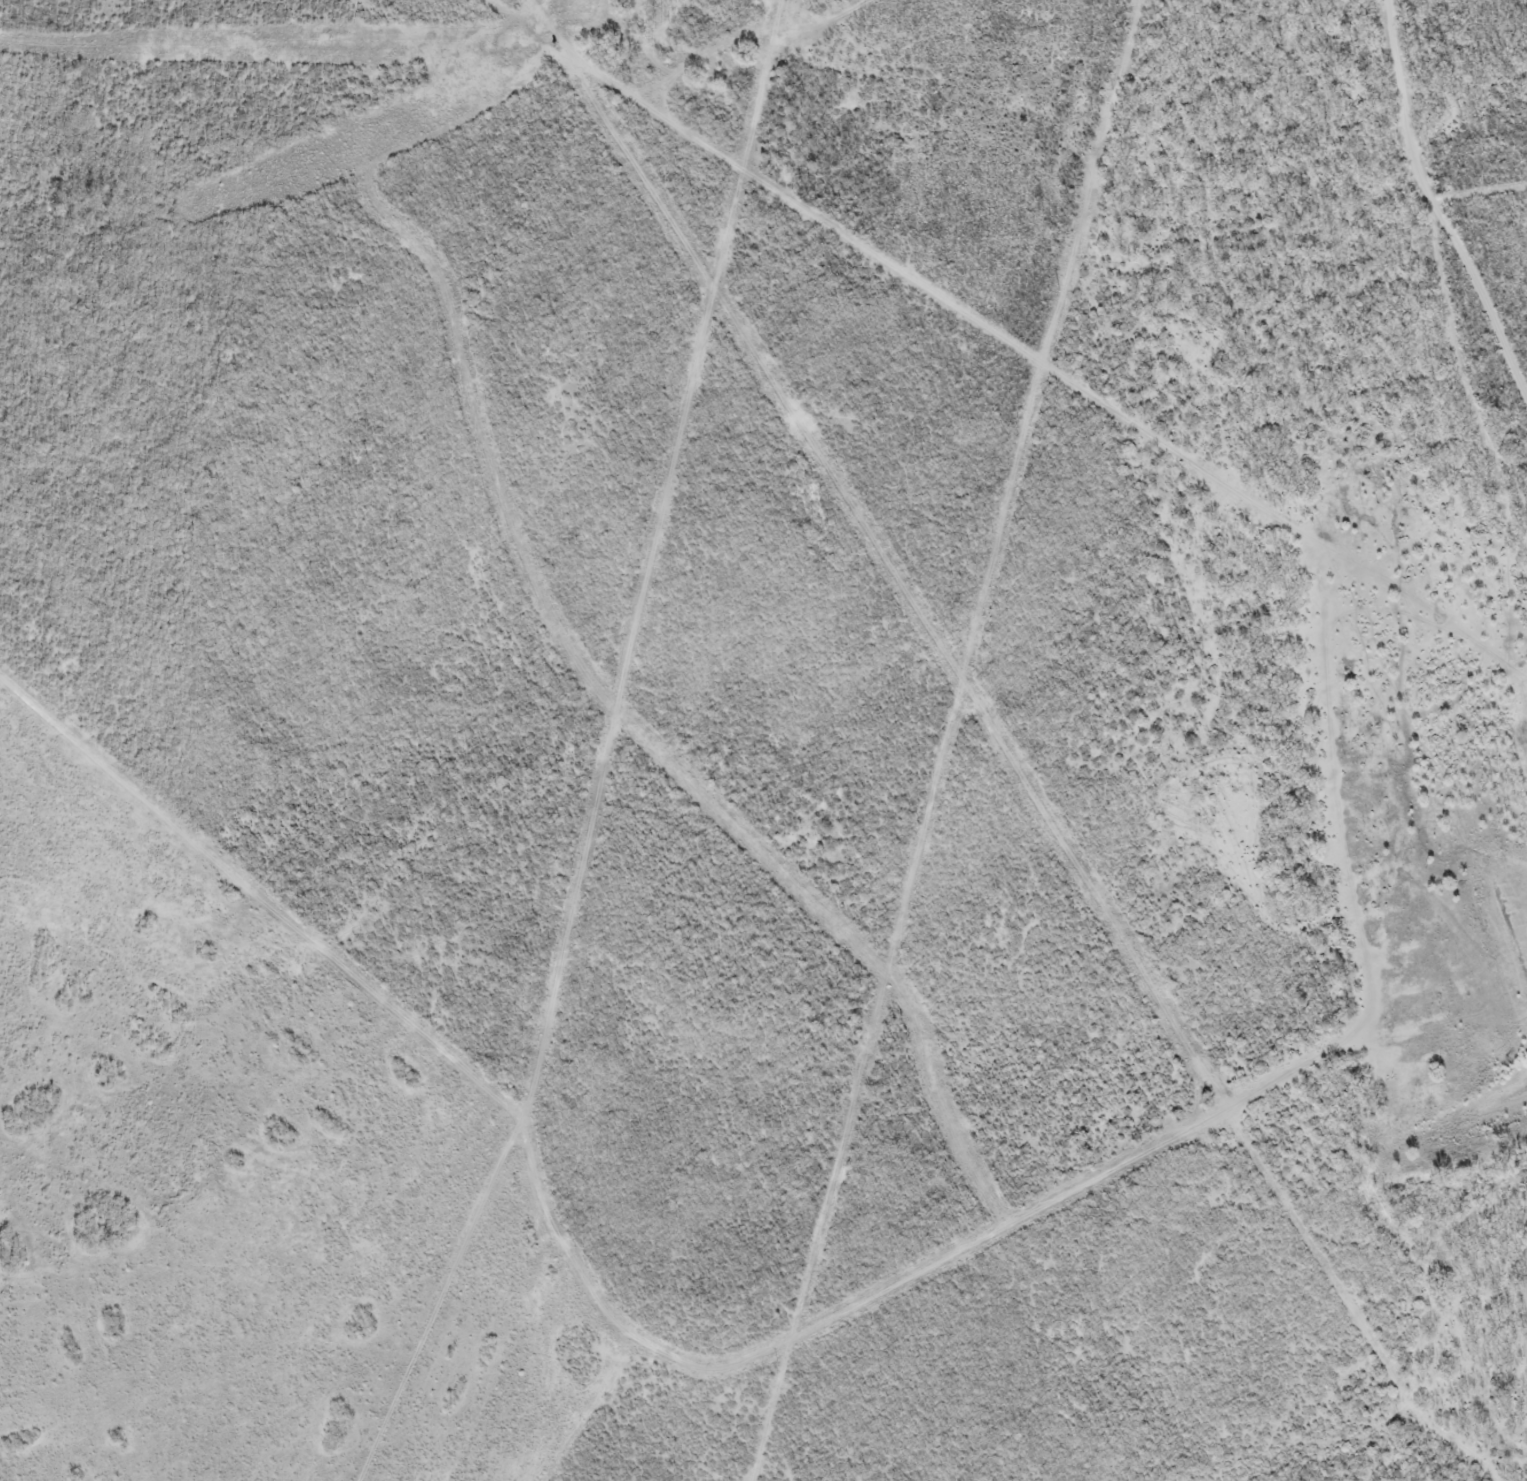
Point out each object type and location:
road: (1440, 264)

